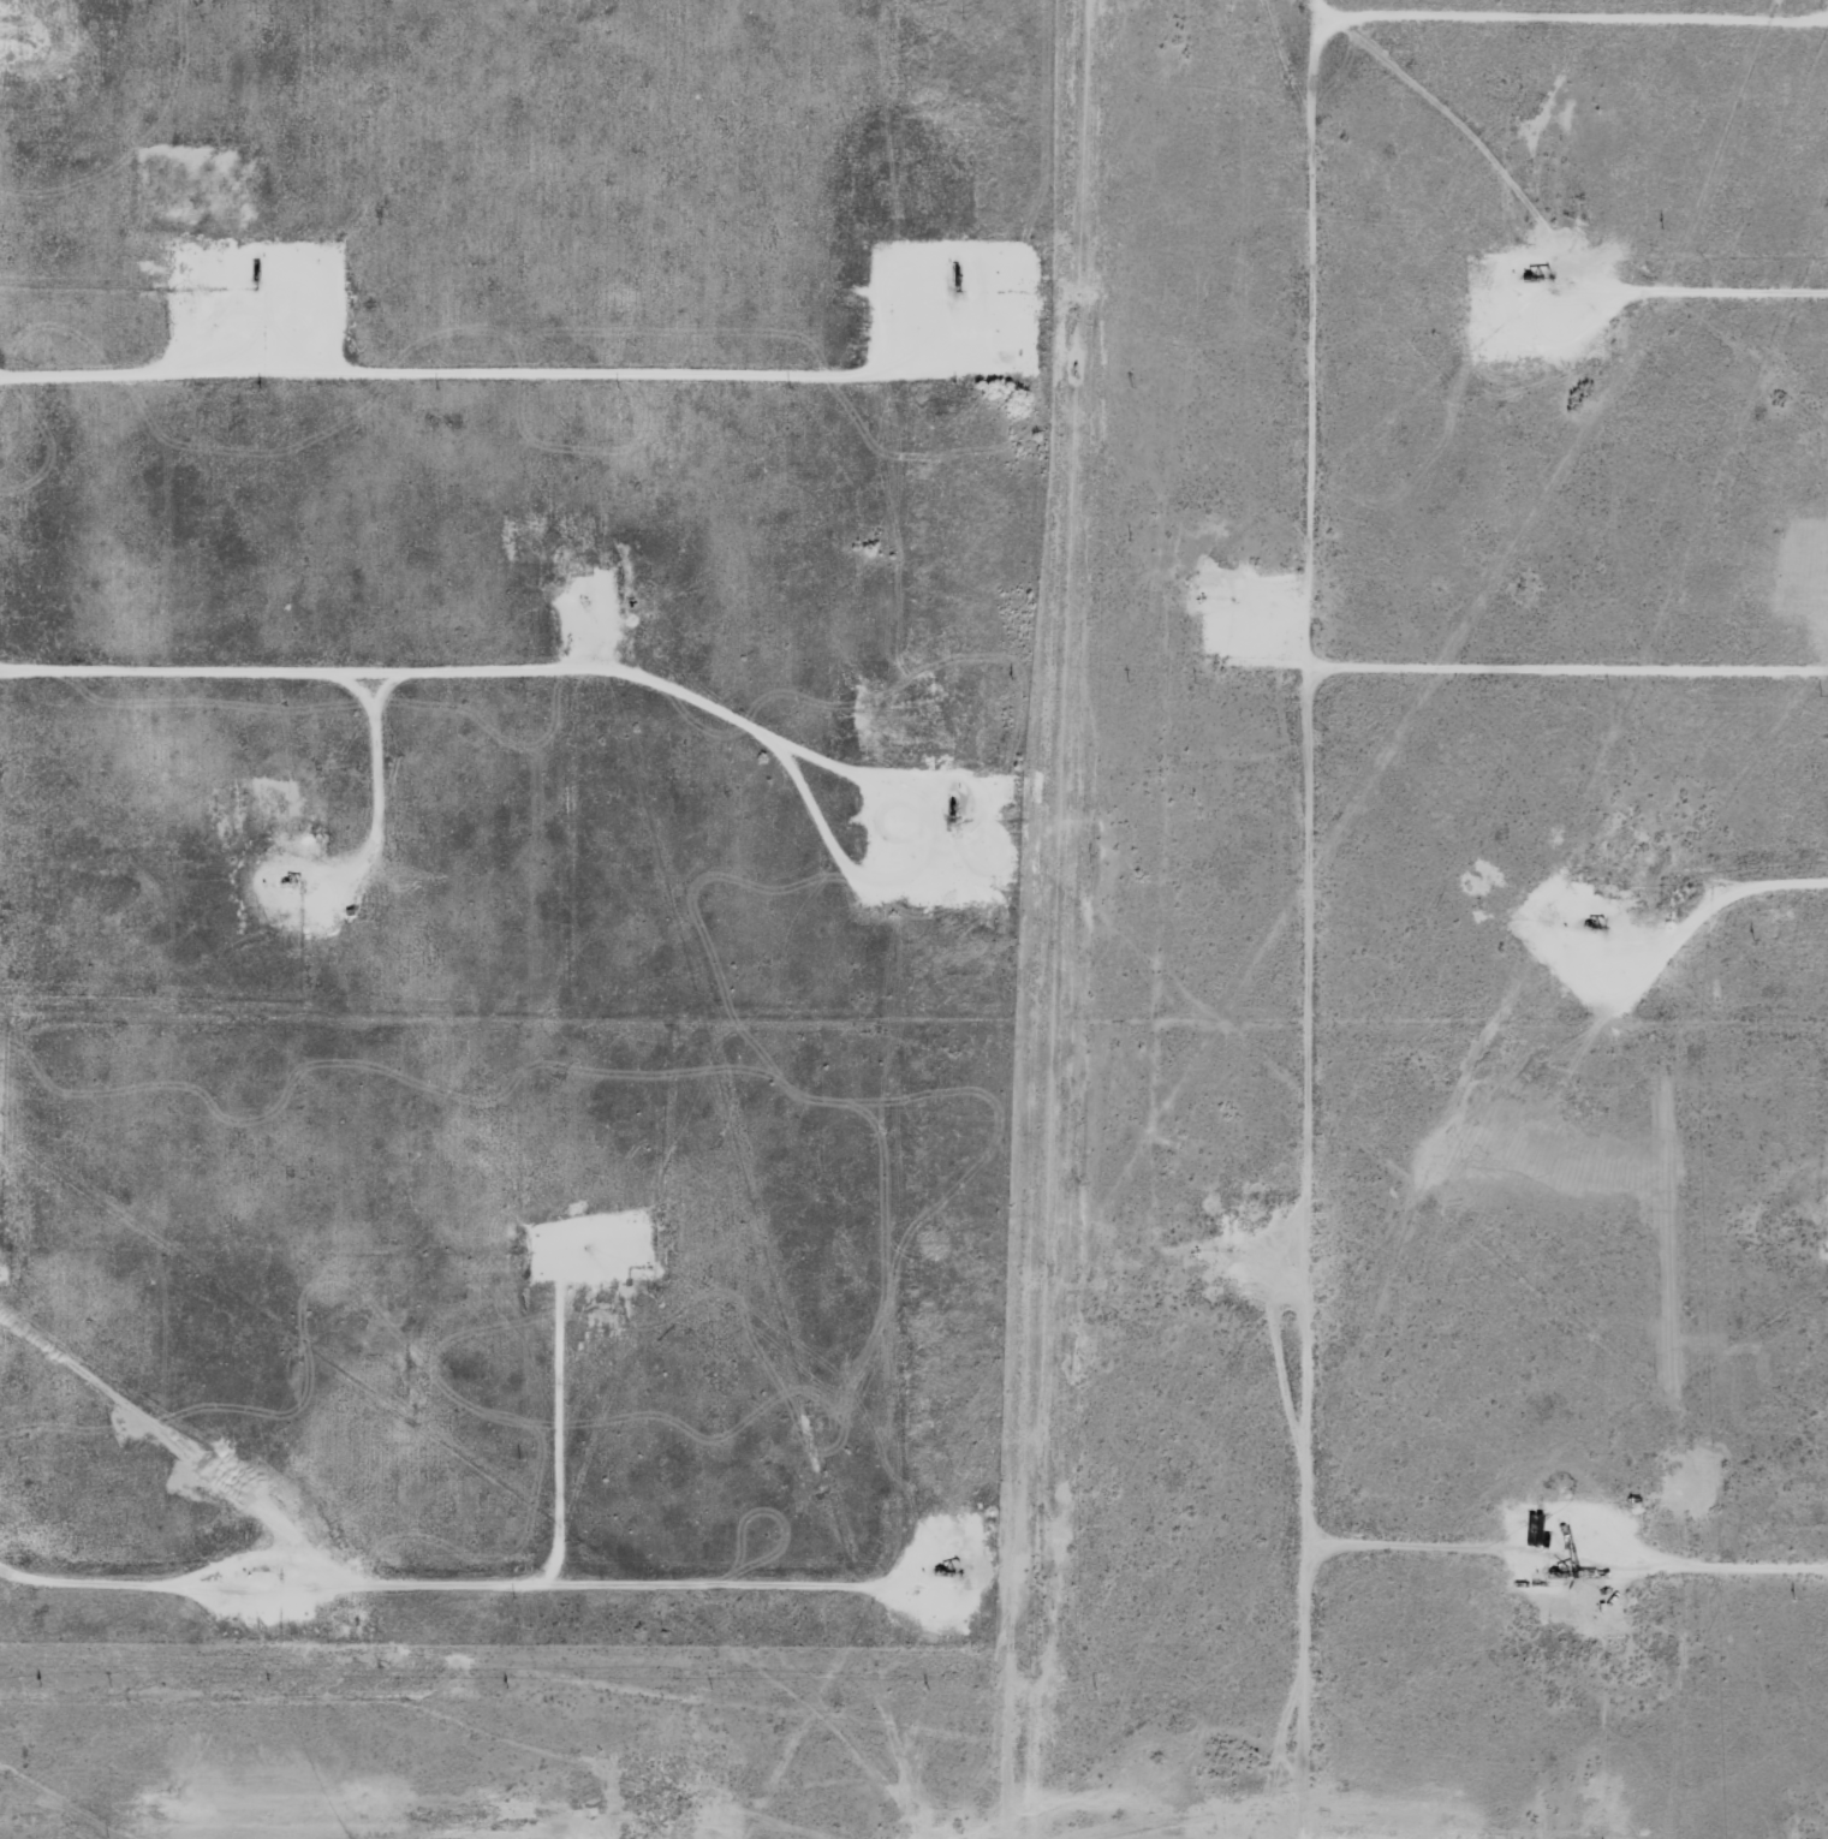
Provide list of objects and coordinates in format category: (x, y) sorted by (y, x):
road: (234, 23)
road: (1567, 672)
road: (266, 702)
road: (1315, 709)
road: (258, 1278)
river: (214, 1355)

